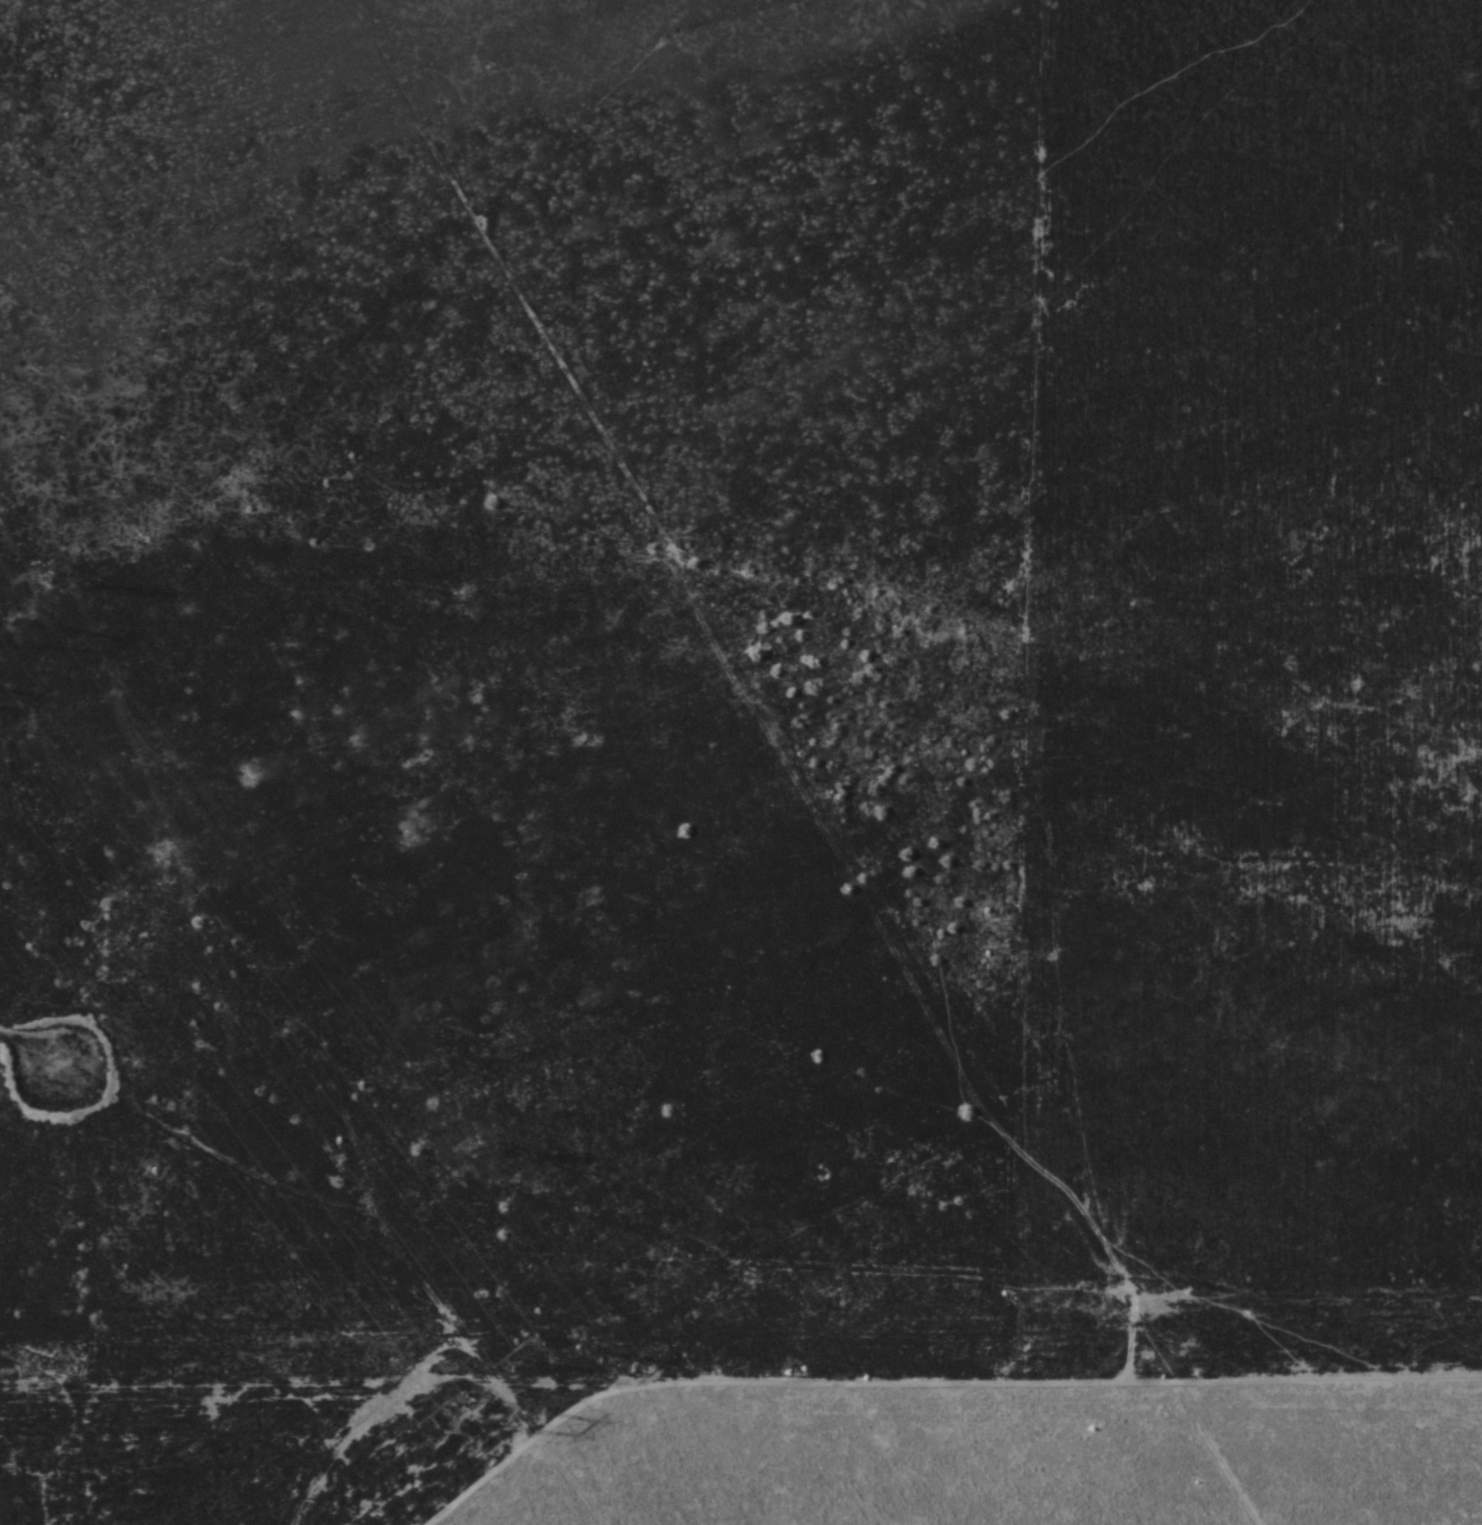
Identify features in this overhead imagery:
power tower: (40, 579)
power tower: (466, 1144)
road: (740, 1259)
power tower: (522, 1351)
power tower: (454, 1416)

